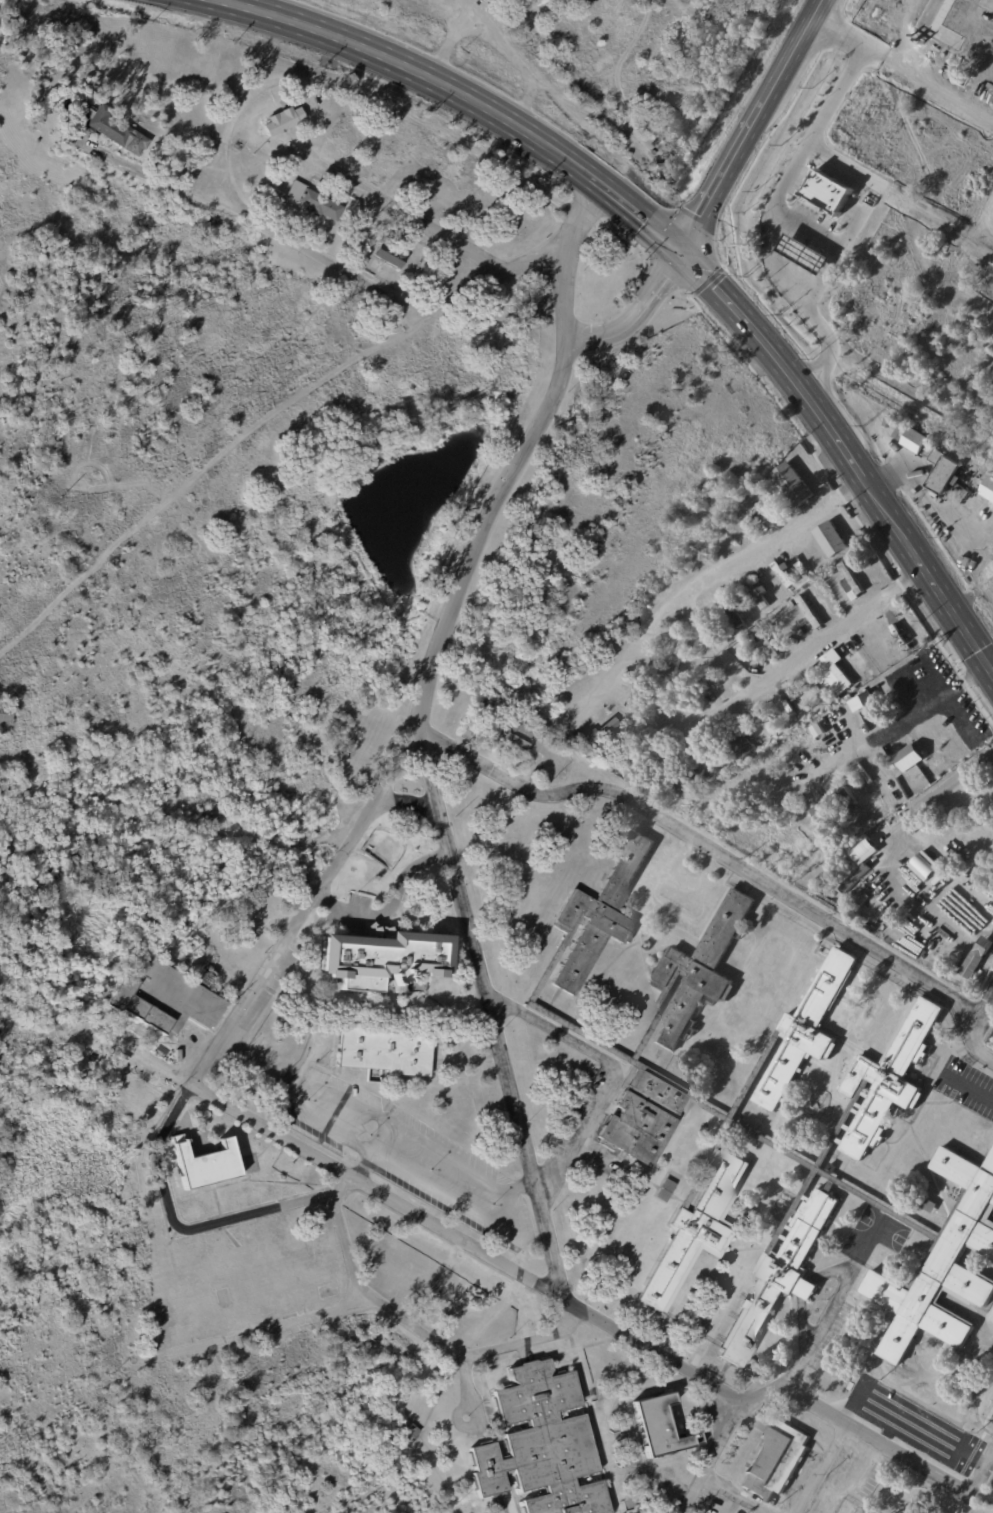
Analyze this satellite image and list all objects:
road: (449, 40)
building: (712, 42)
road: (783, 65)
road: (906, 68)
road: (412, 70)
road: (524, 102)
road: (596, 115)
building: (284, 121)
building: (643, 126)
building: (112, 128)
building: (666, 172)
road: (714, 191)
building: (827, 191)
road: (780, 192)
building: (274, 195)
building: (312, 200)
road: (640, 211)
road: (404, 213)
road: (835, 244)
traffic signals: (681, 250)
building: (392, 254)
road: (326, 258)
road: (716, 287)
road: (634, 309)
building: (911, 440)
road: (890, 449)
building: (943, 472)
building: (792, 485)
building: (988, 490)
road: (920, 492)
road: (873, 498)
building: (751, 509)
building: (830, 539)
building: (782, 573)
building: (849, 579)
road: (703, 586)
building: (757, 592)
building: (734, 609)
building: (808, 611)
building: (900, 634)
building: (765, 643)
road: (438, 647)
road: (718, 647)
road: (809, 651)
building: (677, 656)
building: (836, 656)
building: (834, 675)
building: (707, 689)
building: (630, 701)
building: (788, 706)
building: (6, 713)
road: (893, 722)
building: (600, 732)
building: (516, 736)
building: (743, 742)
building: (540, 747)
building: (908, 758)
building: (624, 760)
building: (729, 764)
building: (776, 766)
building: (693, 782)
building: (960, 803)
building: (833, 806)
road: (897, 832)
road: (708, 845)
building: (924, 865)
building: (850, 880)
road: (679, 884)
road: (391, 904)
building: (867, 906)
building: (600, 914)
building: (912, 915)
building: (896, 935)
building: (976, 956)
building: (387, 960)
building: (701, 973)
building: (164, 998)
road: (984, 1013)
road: (492, 1017)
building: (808, 1032)
road: (977, 1047)
building: (383, 1050)
road: (610, 1068)
building: (2, 1072)
building: (887, 1084)
road: (979, 1092)
building: (643, 1117)
parking lot: (408, 1157)
road: (450, 1158)
building: (208, 1165)
road: (338, 1184)
road: (522, 1186)
building: (662, 1191)
road: (324, 1195)
building: (929, 1207)
road: (874, 1224)
building: (695, 1232)
road: (889, 1233)
road: (862, 1244)
building: (945, 1262)
building: (781, 1277)
road: (560, 1296)
road: (836, 1303)
road: (716, 1326)
road: (432, 1340)
road: (523, 1340)
road: (921, 1426)
road: (892, 1428)
building: (657, 1429)
building: (409, 1432)
building: (544, 1444)
road: (703, 1455)
building: (775, 1461)
road: (855, 1489)
road: (732, 1492)
building: (909, 1511)

